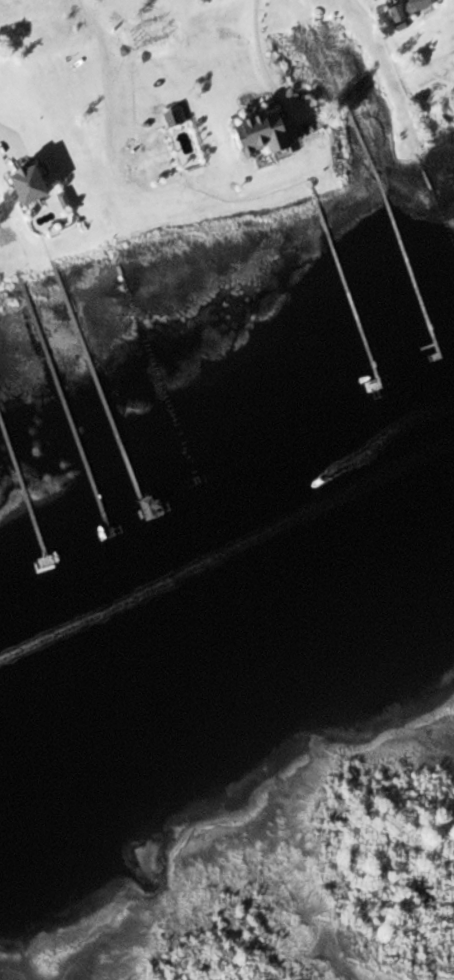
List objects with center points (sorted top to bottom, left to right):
building: (419, 8)
road: (264, 42)
road: (106, 70)
building: (276, 134)
building: (162, 163)
building: (43, 185)

